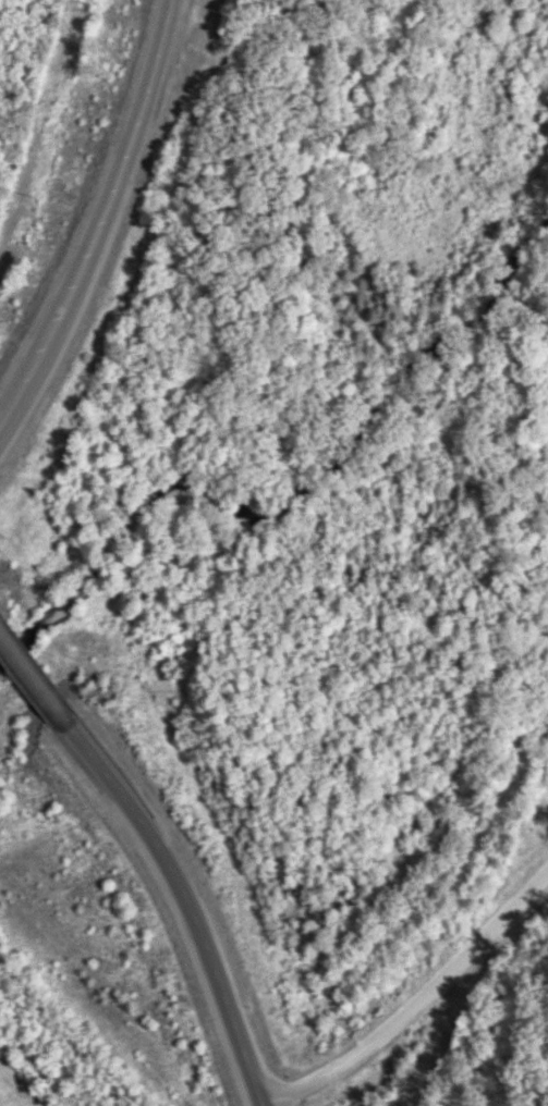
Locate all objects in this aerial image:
road: (103, 219)
road: (166, 849)
road: (418, 1003)

